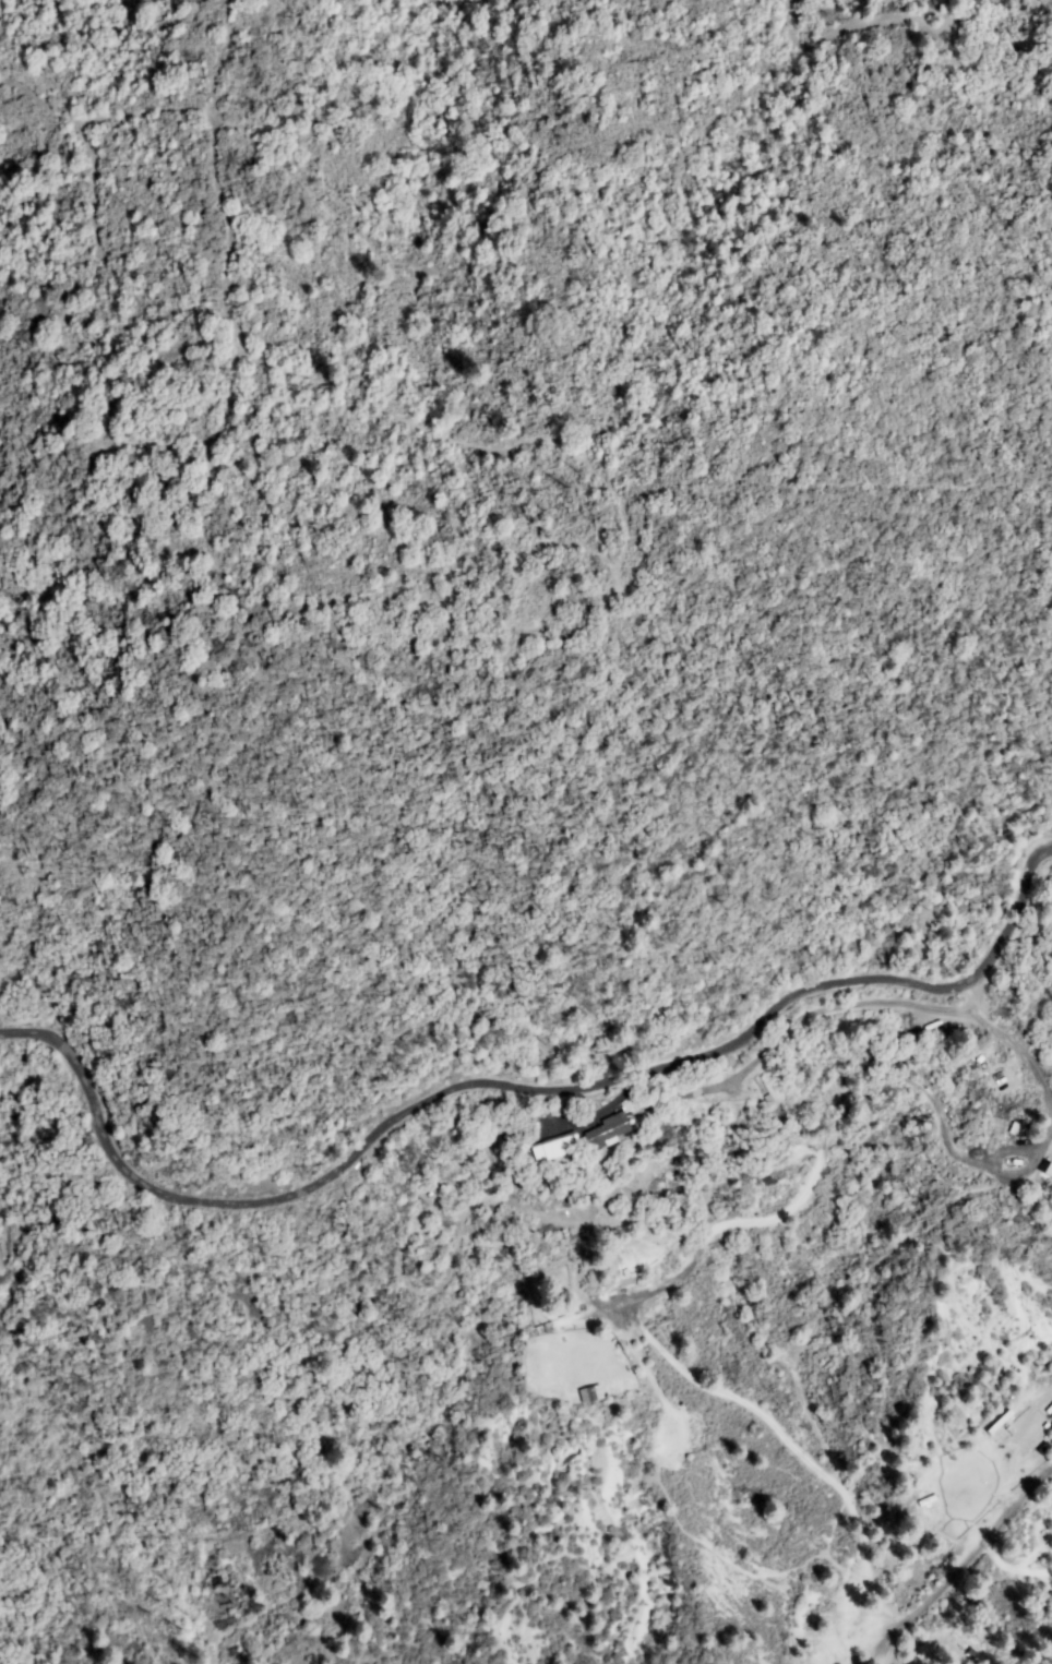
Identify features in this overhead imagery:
road: (514, 1085)
building: (609, 1133)
building: (557, 1148)
building: (1040, 1173)
building: (587, 1394)
road: (963, 1571)

